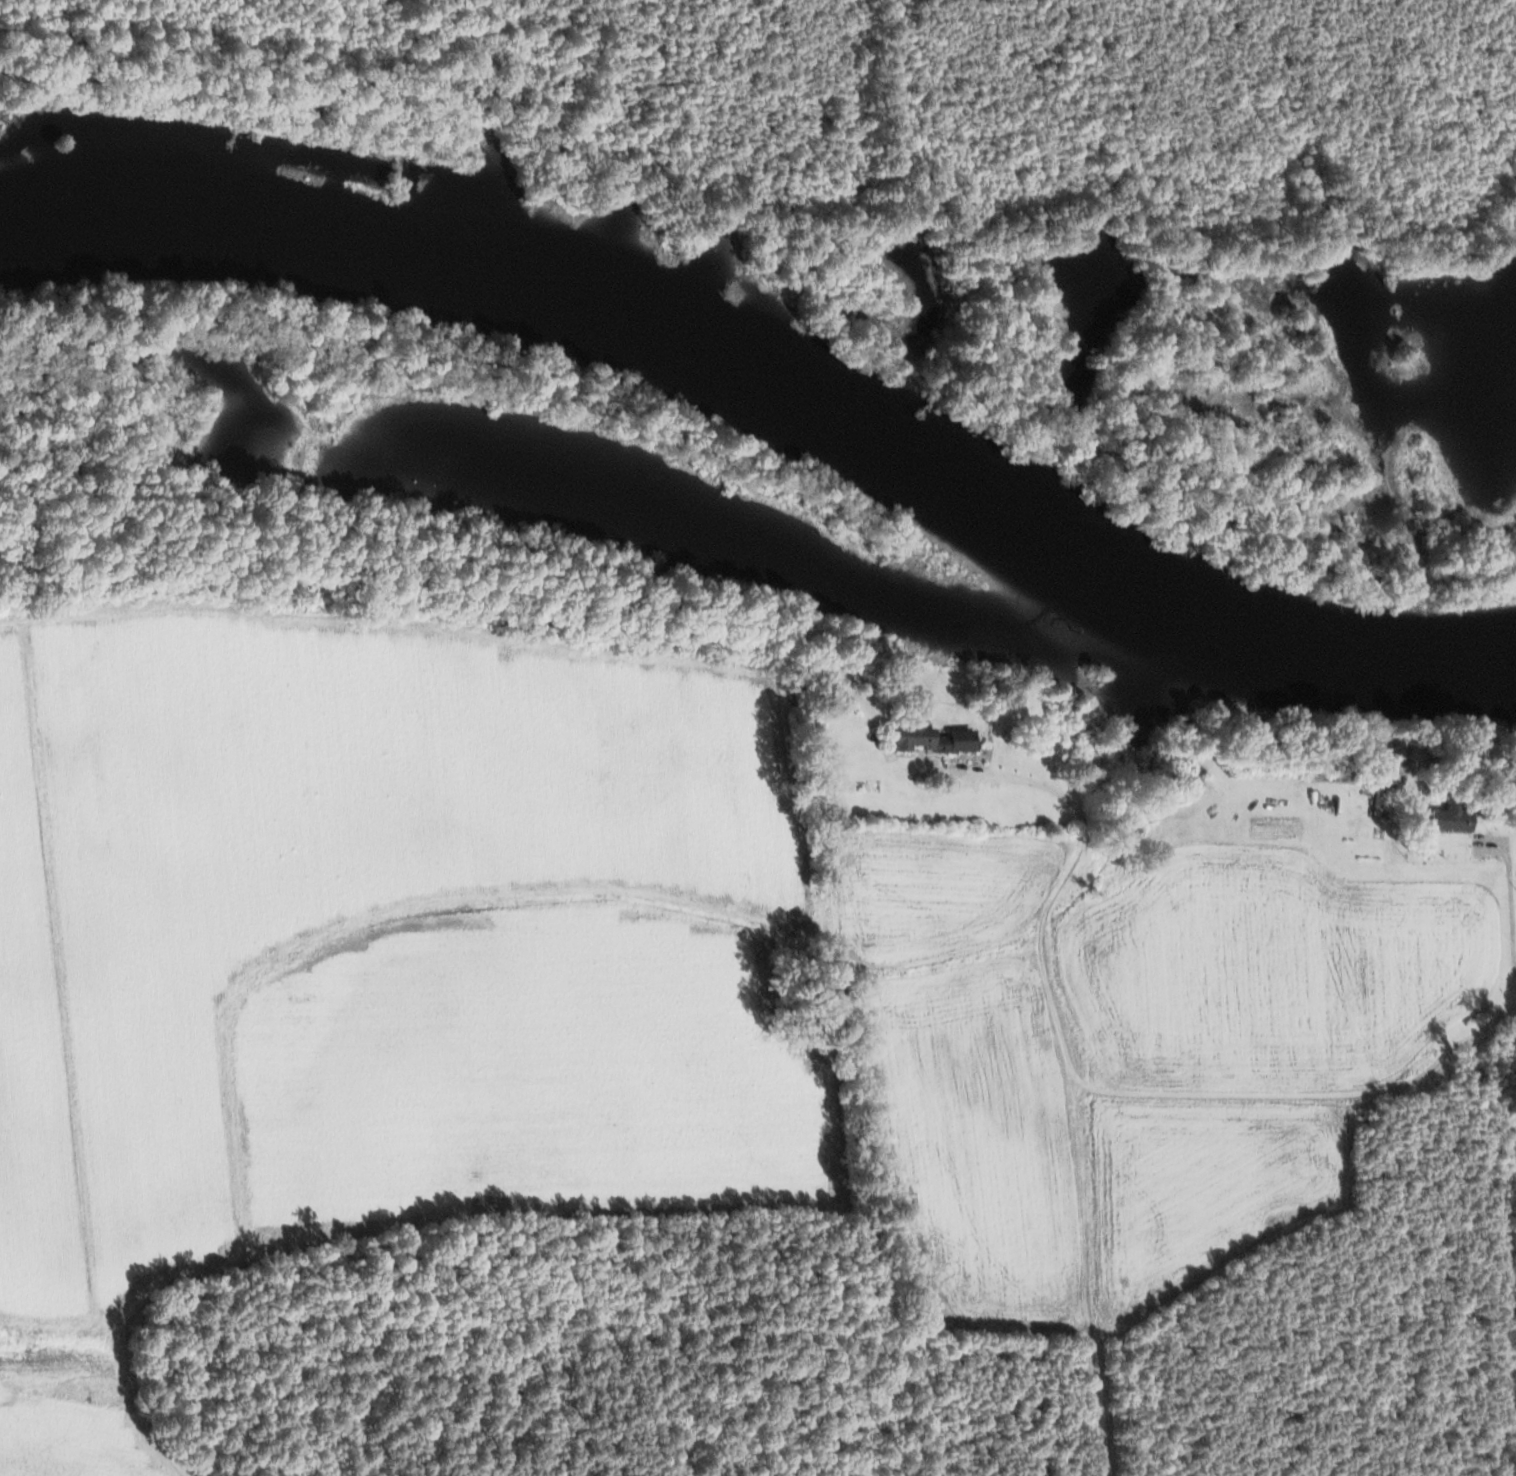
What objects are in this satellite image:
river: (251, 227)
river: (1006, 496)
building: (932, 741)
building: (1382, 801)
building: (1450, 820)

